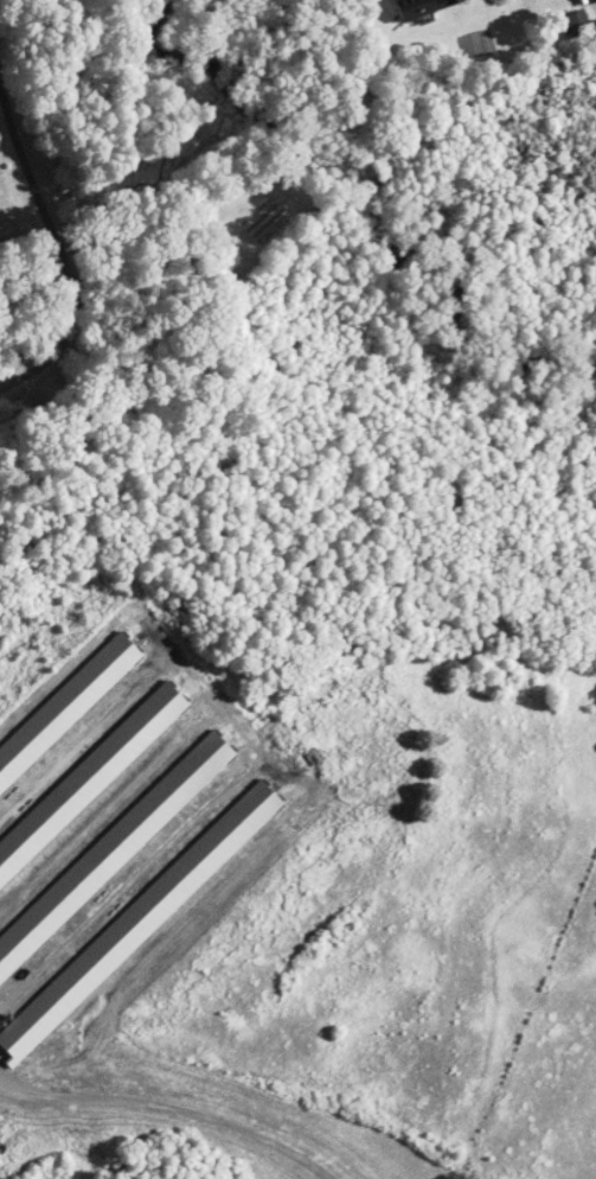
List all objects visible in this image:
building: (421, 7)
building: (579, 23)
road: (60, 247)
road: (175, 1105)

